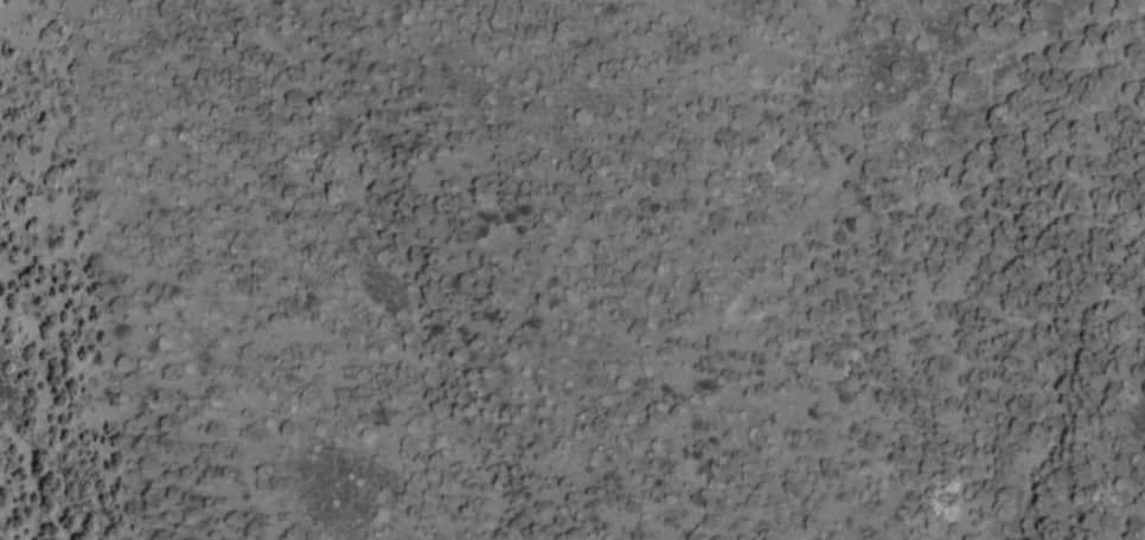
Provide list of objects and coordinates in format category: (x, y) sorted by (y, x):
road: (976, 26)
road: (855, 296)

